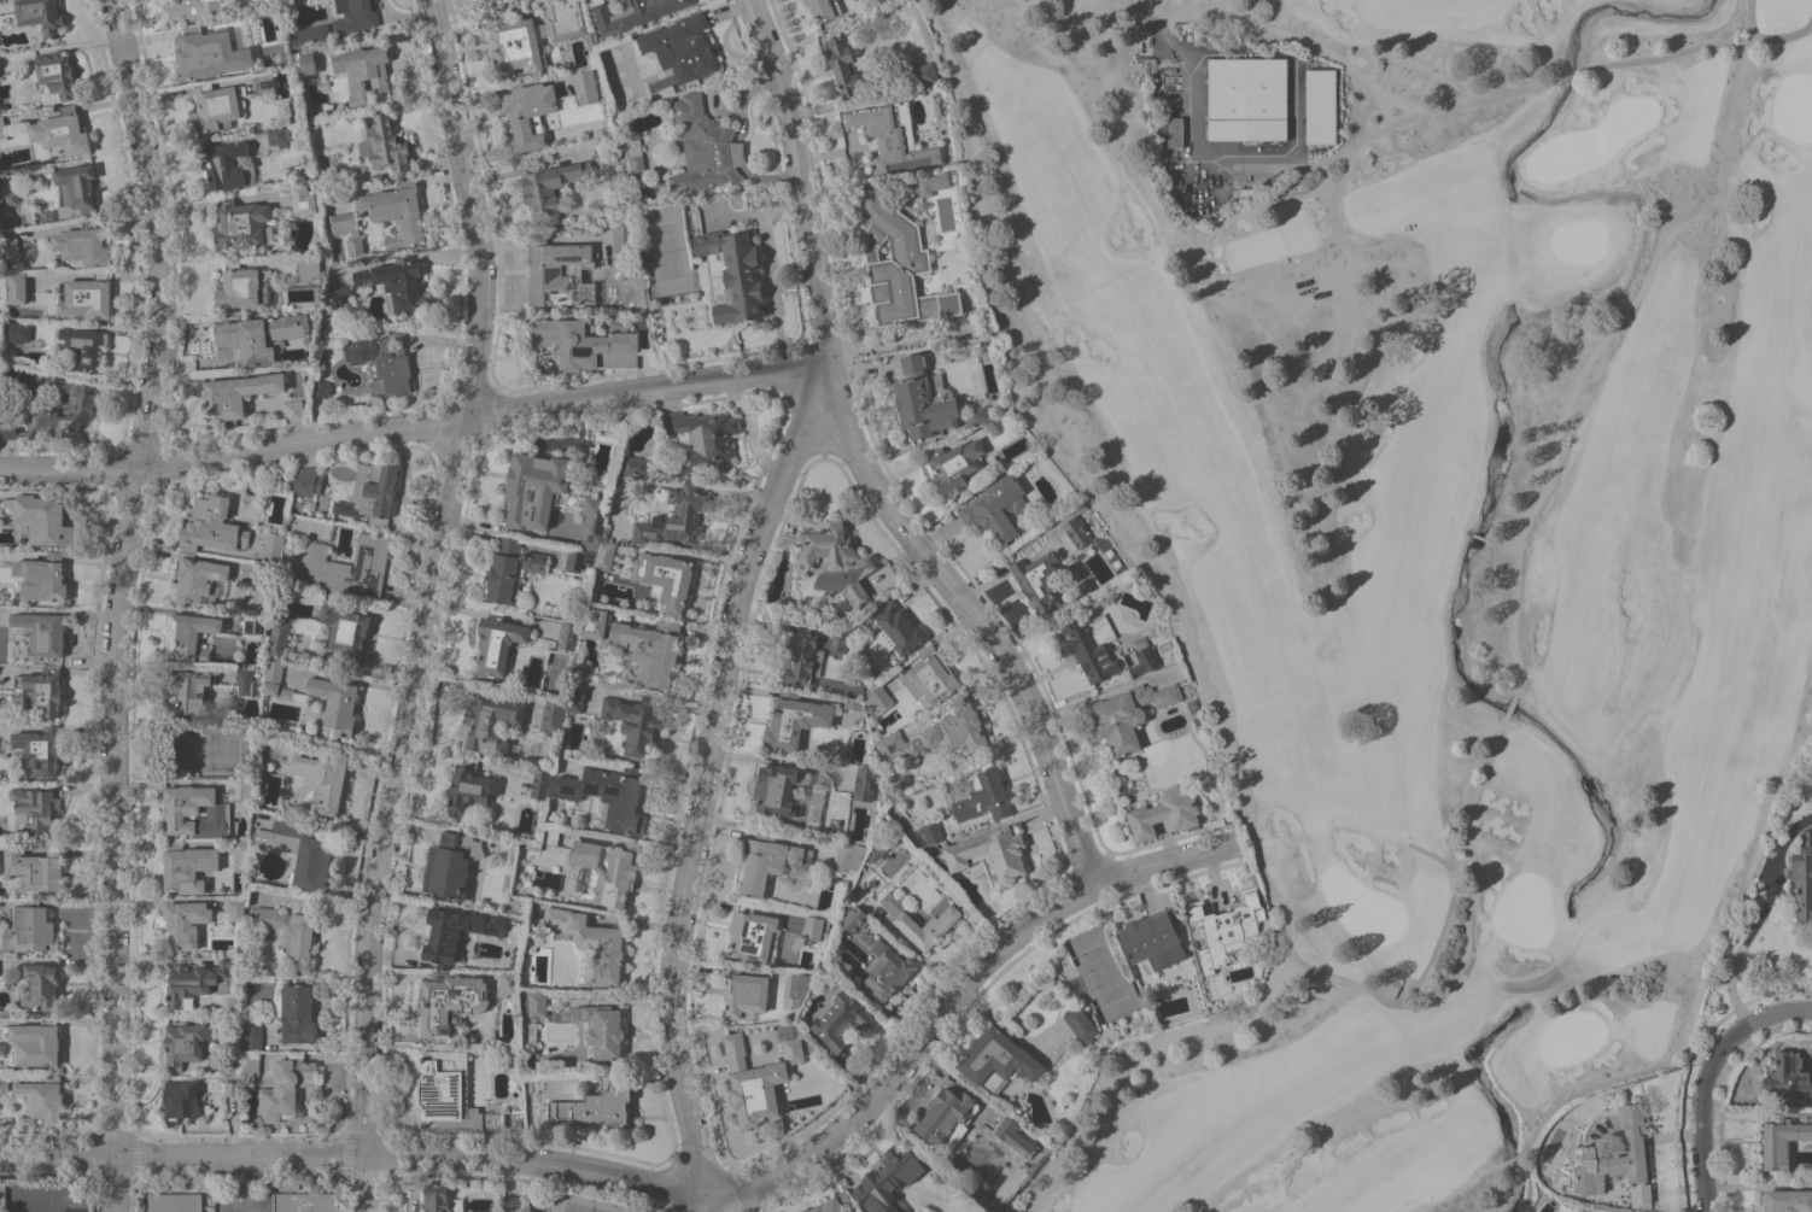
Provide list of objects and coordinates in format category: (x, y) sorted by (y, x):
building: (487, 0)
building: (193, 8)
building: (824, 8)
building: (632, 13)
building: (355, 14)
building: (40, 16)
building: (562, 21)
road: (1151, 25)
building: (308, 34)
road: (1288, 34)
road: (1769, 36)
building: (516, 45)
building: (680, 47)
building: (209, 53)
road: (1668, 53)
building: (304, 62)
building: (842, 65)
building: (565, 66)
building: (363, 71)
park: (622, 72)
building: (922, 75)
road: (1568, 75)
building: (54, 77)
building: (1162, 80)
building: (264, 82)
building: (584, 86)
building: (216, 107)
building: (937, 107)
building: (287, 110)
building: (527, 113)
building: (602, 113)
road: (1409, 116)
building: (1275, 117)
building: (2, 127)
building: (62, 131)
building: (1175, 131)
building: (277, 136)
building: (892, 137)
building: (384, 145)
building: (705, 147)
building: (636, 163)
building: (224, 164)
building: (952, 170)
building: (620, 176)
road: (805, 176)
building: (931, 182)
building: (548, 183)
building: (76, 186)
building: (7, 192)
building: (303, 198)
building: (1205, 199)
road: (475, 210)
building: (384, 216)
road: (1719, 217)
building: (241, 224)
road: (152, 234)
building: (622, 236)
building: (8, 246)
building: (82, 246)
park: (665, 250)
building: (403, 252)
building: (894, 262)
building: (306, 268)
building: (557, 271)
building: (731, 274)
building: (397, 282)
building: (253, 287)
building: (16, 288)
building: (339, 295)
building: (84, 297)
building: (1, 309)
building: (18, 332)
building: (258, 335)
building: (586, 344)
building: (83, 347)
road: (1594, 352)
building: (546, 359)
building: (384, 362)
building: (320, 388)
building: (236, 396)
building: (922, 400)
building: (57, 410)
building: (293, 410)
building: (977, 415)
road: (415, 426)
building: (998, 428)
building: (702, 440)
building: (954, 464)
building: (633, 466)
building: (306, 481)
building: (533, 488)
building: (370, 493)
building: (995, 508)
building: (592, 516)
building: (41, 519)
building: (674, 519)
building: (211, 525)
building: (1075, 527)
park: (1422, 531)
building: (603, 533)
building: (273, 546)
building: (603, 556)
building: (578, 558)
building: (534, 561)
building: (836, 562)
building: (346, 567)
building: (503, 569)
building: (259, 575)
building: (42, 578)
building: (665, 578)
building: (198, 579)
building: (1037, 581)
road: (970, 615)
building: (595, 621)
building: (255, 626)
building: (858, 627)
building: (896, 631)
building: (346, 632)
building: (41, 633)
building: (567, 636)
building: (189, 637)
road: (1190, 638)
building: (277, 639)
building: (497, 644)
building: (841, 645)
building: (1091, 645)
building: (648, 650)
building: (800, 655)
building: (1142, 657)
building: (271, 675)
building: (931, 678)
building: (244, 681)
building: (41, 690)
building: (188, 690)
building: (286, 693)
building: (575, 696)
building: (877, 699)
building: (334, 704)
building: (852, 704)
building: (551, 714)
building: (1129, 714)
building: (794, 720)
building: (490, 721)
building: (635, 722)
building: (960, 726)
building: (890, 744)
park: (210, 746)
building: (37, 751)
building: (314, 773)
building: (539, 783)
building: (864, 783)
road: (394, 784)
building: (469, 787)
building: (245, 789)
building: (607, 794)
building: (787, 794)
building: (983, 796)
road: (699, 798)
building: (35, 808)
building: (197, 810)
building: (1164, 813)
building: (930, 832)
building: (549, 835)
road: (112, 839)
building: (882, 839)
building: (532, 847)
building: (240, 849)
building: (298, 849)
building: (924, 854)
building: (989, 854)
building: (848, 857)
building: (767, 861)
building: (451, 863)
building: (187, 866)
building: (36, 868)
building: (607, 868)
building: (1802, 876)
building: (234, 907)
road: (1446, 917)
road: (1757, 917)
building: (854, 919)
building: (920, 921)
building: (185, 923)
building: (812, 927)
building: (1224, 927)
building: (30, 929)
building: (288, 929)
building: (455, 932)
building: (750, 933)
road: (1465, 937)
building: (1153, 938)
building: (590, 944)
building: (887, 971)
park: (1101, 973)
building: (192, 980)
building: (504, 984)
building: (39, 985)
building: (1389, 986)
building: (791, 988)
building: (744, 994)
building: (449, 1001)
building: (522, 1001)
building: (536, 1003)
building: (297, 1013)
building: (841, 1021)
road: (1682, 1023)
building: (1080, 1024)
building: (606, 1032)
building: (527, 1034)
building: (252, 1040)
building: (34, 1042)
building: (185, 1043)
building: (998, 1058)
road: (1717, 1058)
building: (250, 1062)
building: (232, 1064)
building: (1787, 1076)
building: (758, 1079)
building: (4, 1083)
building: (286, 1087)
building: (233, 1088)
building: (450, 1095)
building: (182, 1100)
building: (41, 1101)
building: (597, 1103)
building: (945, 1113)
building: (1003, 1131)
building: (1781, 1142)
road: (1512, 1158)
building: (1619, 1161)
road: (1490, 1169)
building: (888, 1179)
road: (373, 1183)
road: (677, 1189)
road: (1705, 1189)
building: (440, 1200)
building: (1787, 1200)
building: (175, 1202)
building: (304, 1202)
building: (512, 1204)
building: (832, 1204)
park: (580, 1207)

